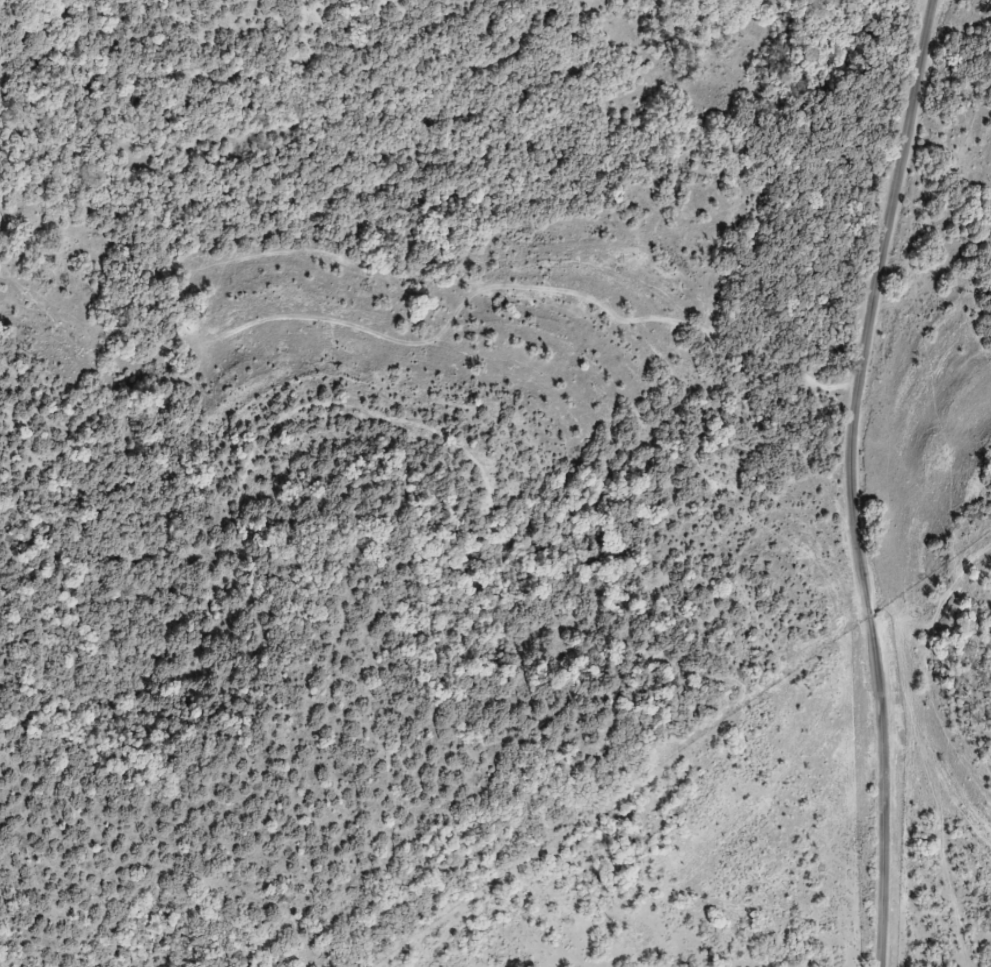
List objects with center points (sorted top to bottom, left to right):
road: (848, 480)

